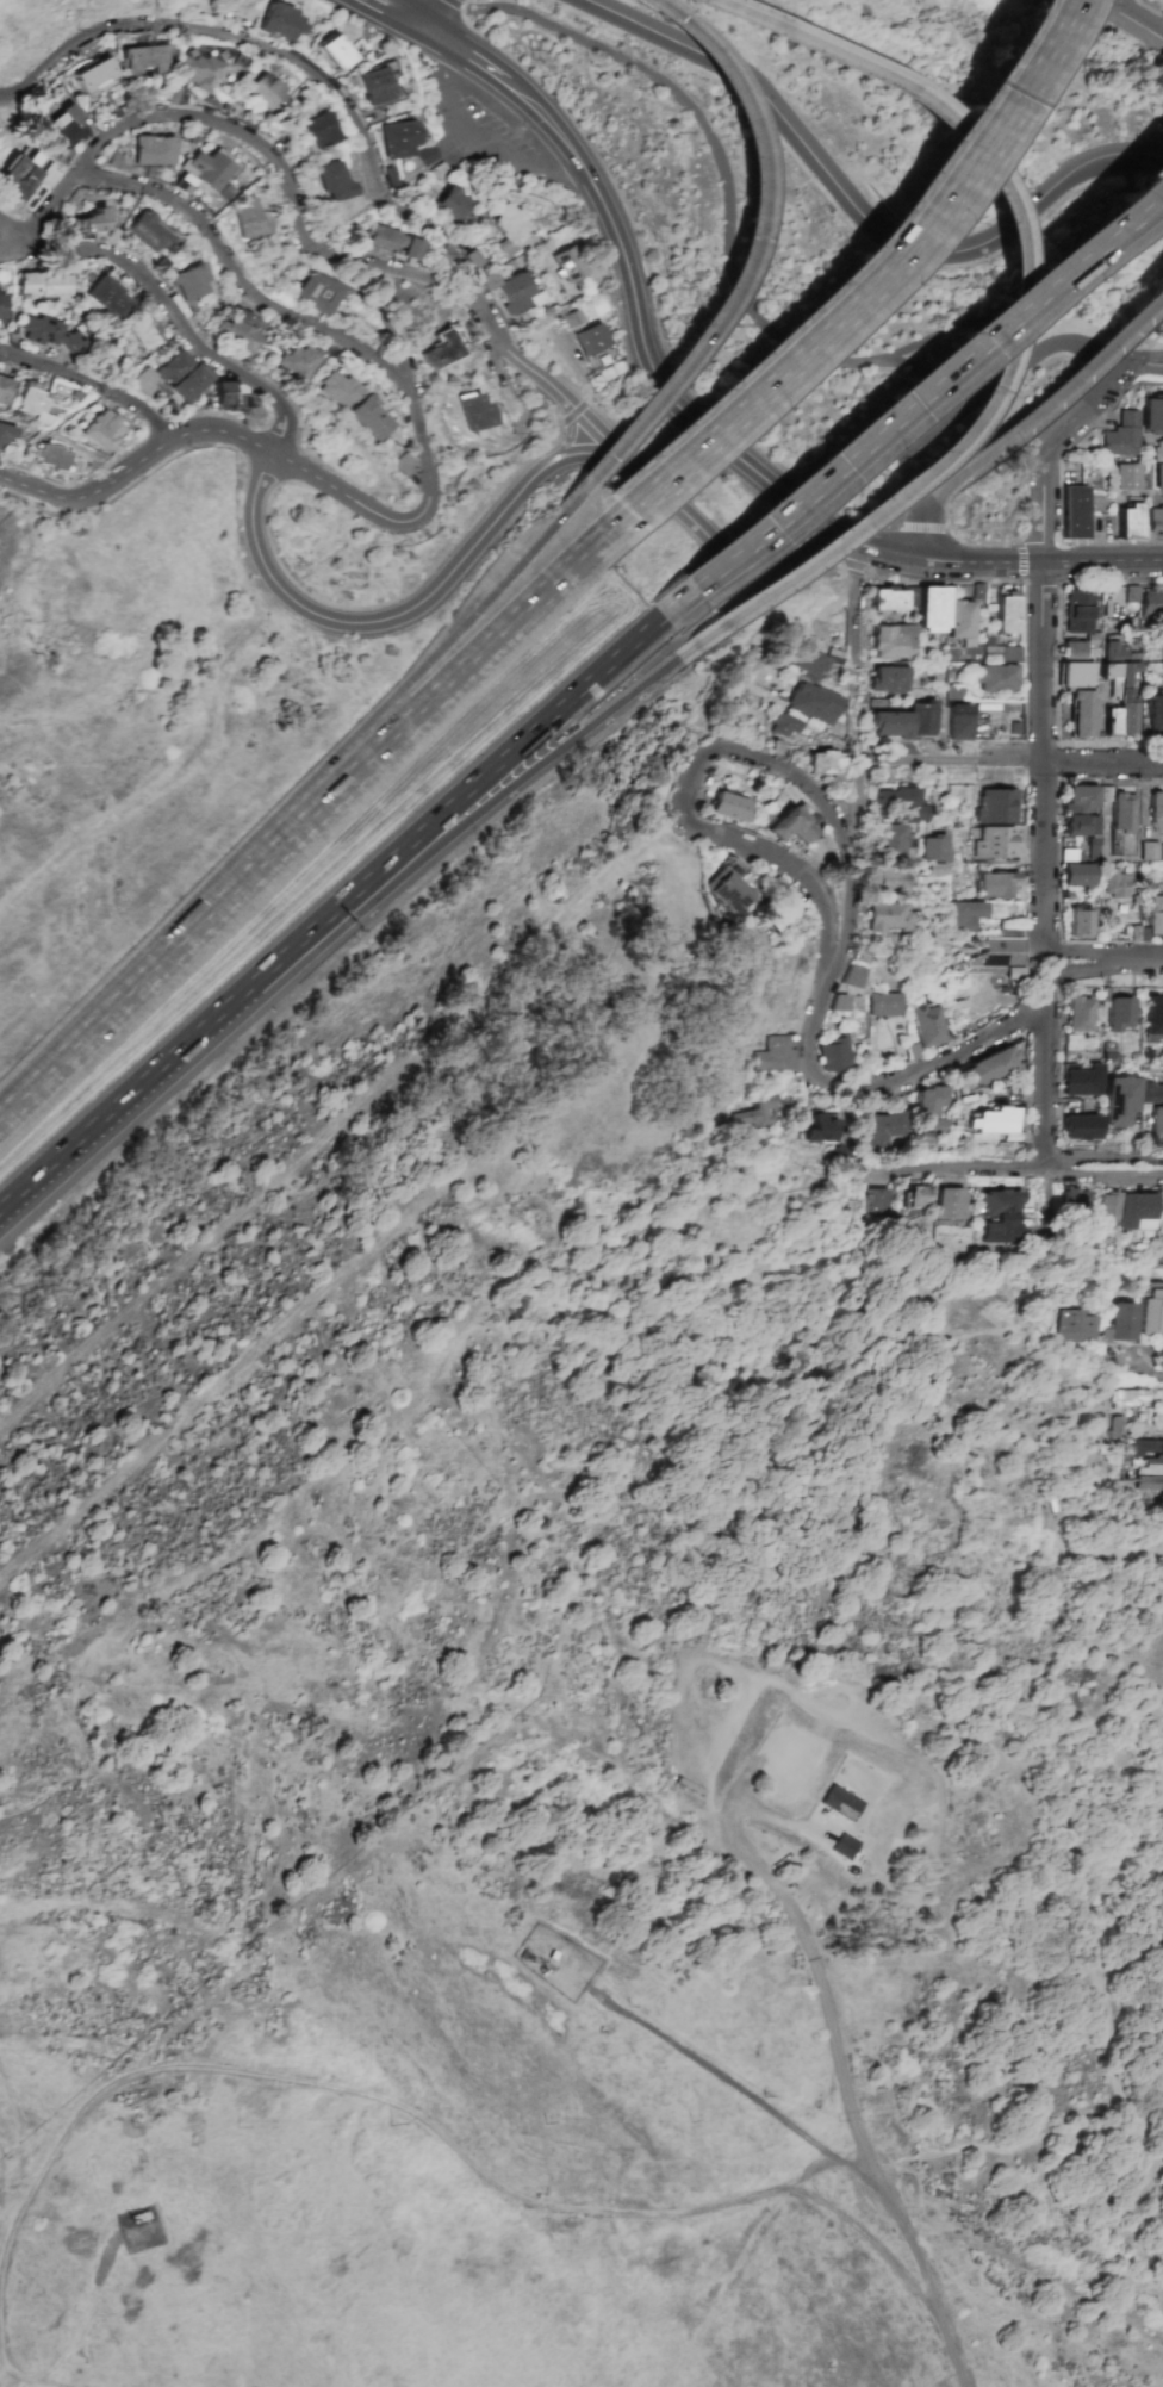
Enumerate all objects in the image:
road: (1095, 1)
road: (409, 11)
road: (427, 11)
road: (378, 19)
road: (1125, 19)
building: (281, 24)
road: (279, 52)
building: (334, 52)
building: (145, 60)
building: (199, 70)
building: (95, 75)
building: (379, 85)
building: (268, 92)
road: (161, 117)
building: (63, 130)
building: (319, 131)
building: (398, 138)
road: (471, 147)
building: (153, 150)
building: (210, 169)
building: (20, 175)
building: (335, 181)
building: (453, 204)
road: (854, 211)
building: (247, 219)
building: (93, 220)
building: (510, 228)
road: (732, 228)
building: (148, 232)
road: (752, 240)
building: (393, 242)
building: (568, 265)
road: (385, 267)
road: (236, 275)
building: (489, 281)
building: (191, 282)
building: (45, 285)
building: (316, 293)
building: (516, 294)
building: (110, 297)
road: (846, 297)
road: (365, 304)
building: (2, 305)
road: (169, 310)
road: (641, 323)
road: (1010, 324)
building: (240, 330)
building: (145, 332)
building: (51, 335)
building: (591, 338)
building: (442, 352)
building: (296, 362)
road: (1136, 362)
road: (521, 363)
road: (1010, 371)
building: (184, 375)
road: (928, 375)
building: (143, 381)
building: (338, 388)
building: (5, 390)
road: (914, 390)
road: (88, 391)
road: (1053, 393)
building: (230, 397)
building: (35, 402)
building: (474, 412)
parking lot: (949, 412)
building: (1152, 415)
building: (371, 418)
building: (101, 430)
road: (572, 430)
building: (6, 435)
building: (1121, 435)
road: (609, 441)
building: (1158, 450)
building: (56, 459)
building: (404, 464)
building: (1125, 477)
building: (1158, 477)
building: (1072, 512)
building: (1128, 520)
road: (410, 522)
building: (1156, 522)
road: (925, 528)
road: (984, 559)
road: (1103, 561)
road: (1103, 583)
building: (1132, 593)
building: (888, 601)
road: (858, 602)
road: (486, 603)
building: (1151, 605)
building: (1006, 611)
building: (1078, 613)
road: (380, 620)
building: (962, 622)
building: (893, 641)
road: (1044, 648)
building: (1074, 651)
building: (1003, 652)
building: (809, 661)
building: (1075, 675)
building: (996, 678)
building: (888, 679)
building: (1121, 692)
building: (813, 703)
building: (1082, 714)
building: (1155, 715)
building: (920, 719)
building: (959, 722)
building: (1112, 722)
building: (889, 725)
building: (782, 726)
road: (533, 739)
road: (542, 759)
road: (970, 759)
building: (823, 764)
building: (1082, 798)
building: (895, 804)
building: (996, 806)
building: (728, 807)
road: (689, 808)
building: (1124, 813)
building: (1156, 813)
building: (794, 823)
building: (1081, 825)
road: (296, 833)
building: (1093, 840)
building: (887, 841)
building: (995, 843)
building: (931, 848)
building: (1149, 851)
building: (1076, 870)
building: (888, 881)
building: (1117, 883)
building: (997, 884)
building: (722, 885)
building: (776, 910)
building: (963, 915)
building: (884, 916)
building: (1155, 916)
building: (1080, 922)
road: (666, 932)
road: (1088, 951)
building: (999, 956)
road: (1145, 962)
road: (831, 969)
road: (1076, 972)
building: (851, 976)
building: (838, 1002)
building: (883, 1005)
building: (1118, 1014)
building: (1153, 1015)
building: (926, 1025)
road: (201, 1040)
building: (775, 1052)
building: (834, 1055)
road: (934, 1065)
building: (987, 1068)
building: (1080, 1080)
road: (1041, 1086)
building: (1117, 1100)
building: (929, 1109)
building: (755, 1112)
building: (1157, 1120)
building: (991, 1125)
building: (1080, 1127)
building: (885, 1129)
building: (817, 1130)
road: (1099, 1158)
road: (960, 1164)
road: (1100, 1176)
building: (918, 1196)
building: (878, 1200)
building: (1074, 1202)
building: (951, 1204)
building: (1108, 1207)
building: (1136, 1211)
building: (997, 1216)
building: (1153, 1309)
building: (1122, 1322)
building: (1074, 1326)
building: (1105, 1334)
road: (1150, 1370)
building: (1127, 1398)
building: (1117, 1426)
building: (1143, 1447)
building: (1151, 1466)
building: (1149, 1484)
road: (213, 1566)
building: (839, 1803)
building: (844, 1846)
road: (767, 1882)
road: (97, 1903)
road: (331, 2091)
road: (1013, 2144)
road: (825, 2151)
road: (875, 2244)
road: (1038, 2281)
road: (73, 2341)

